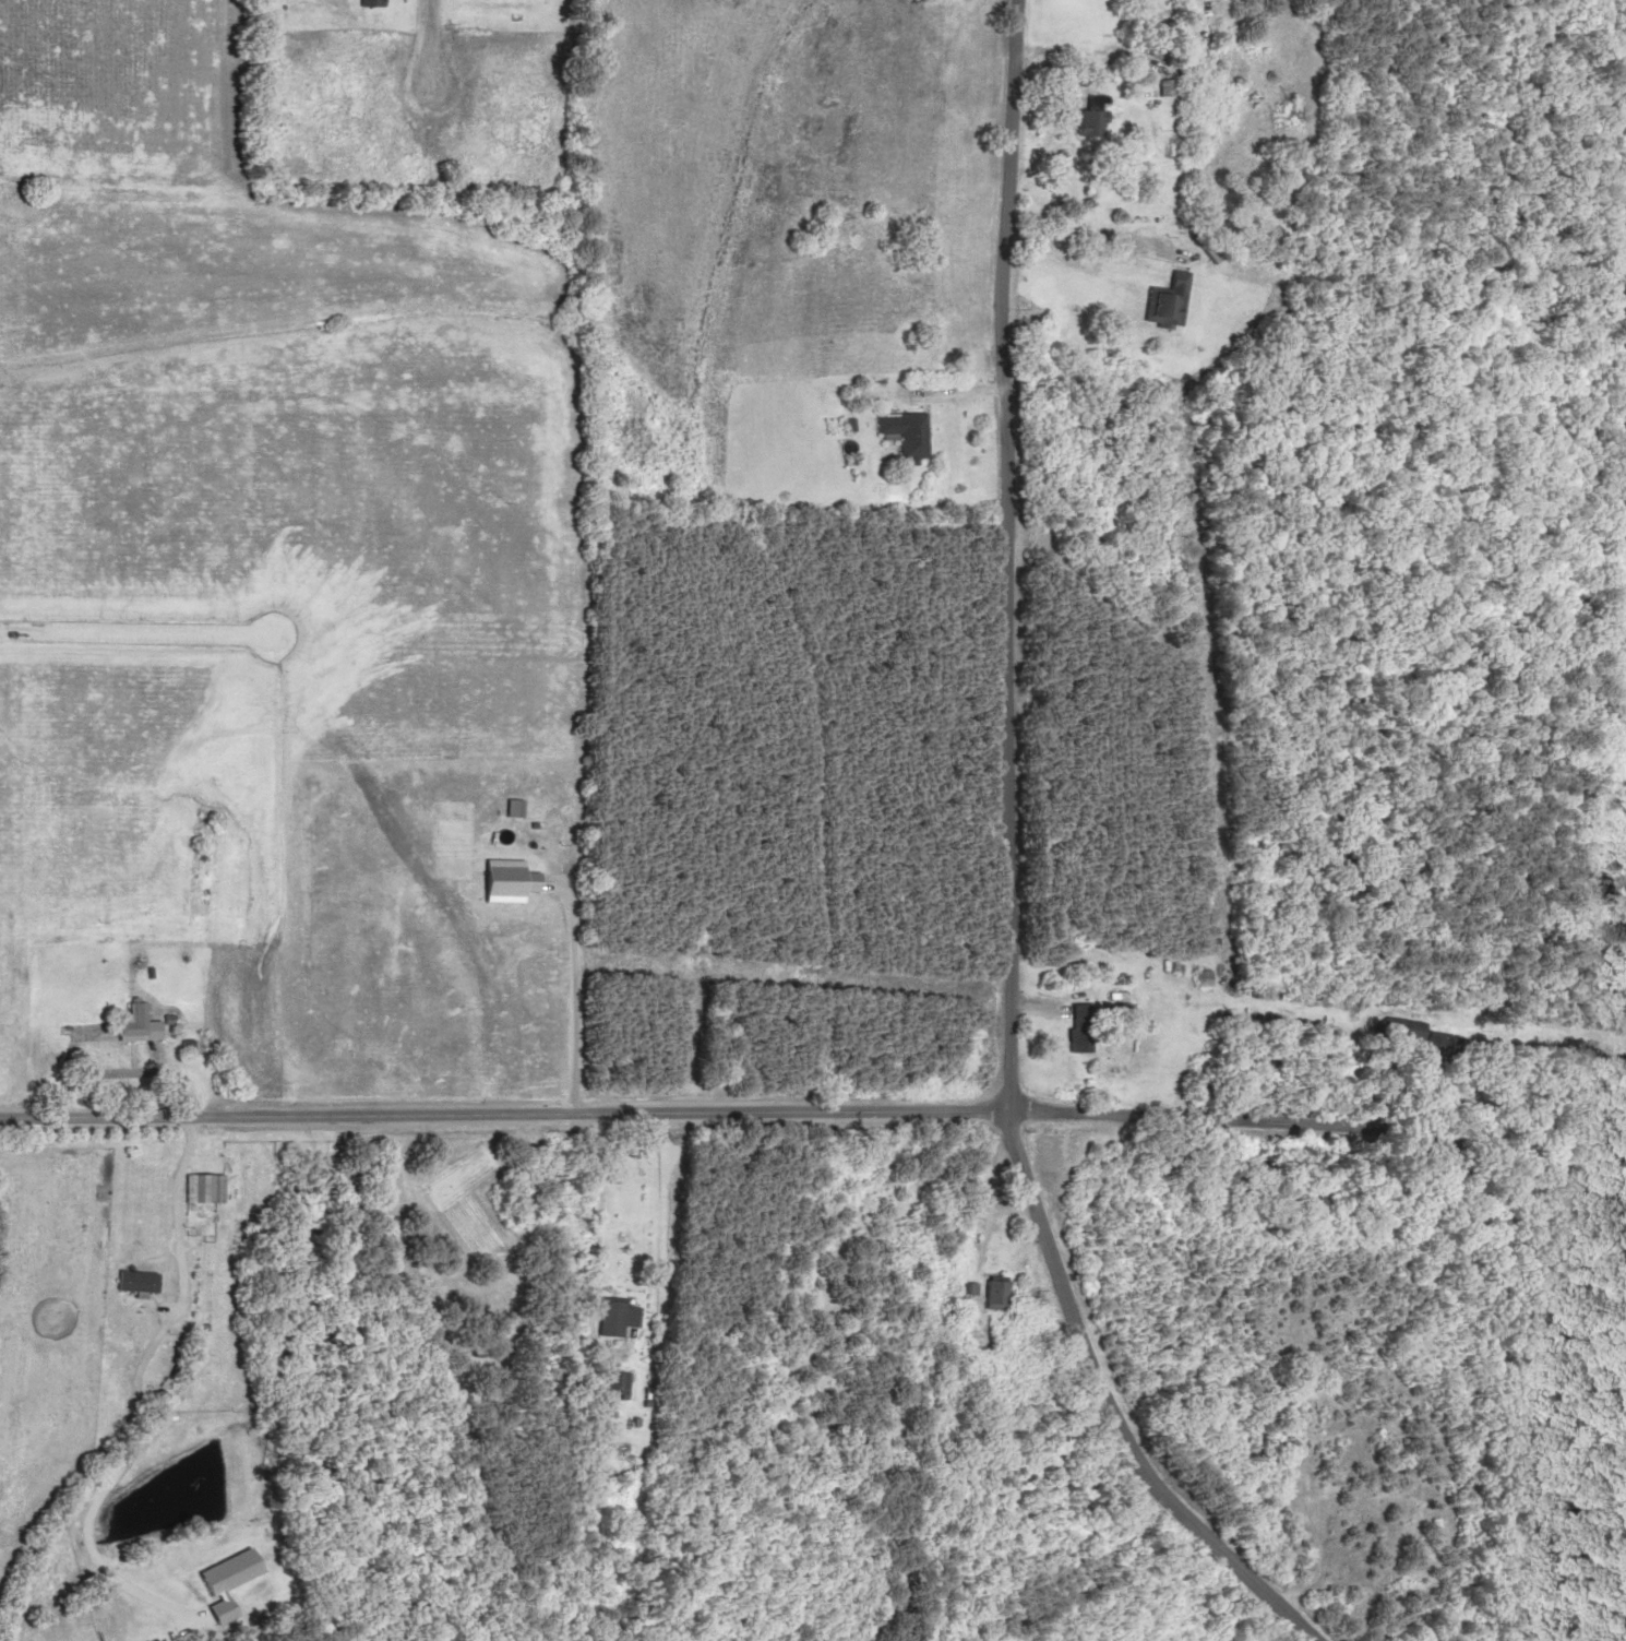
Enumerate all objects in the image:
building: (361, 2)
building: (1161, 86)
building: (1091, 116)
building: (1164, 301)
building: (905, 431)
road: (991, 566)
building: (1196, 979)
building: (134, 1022)
building: (1075, 1028)
building: (1447, 1049)
road: (1320, 1123)
road: (505, 1127)
building: (201, 1187)
building: (993, 1292)
building: (612, 1315)
road: (1097, 1418)

